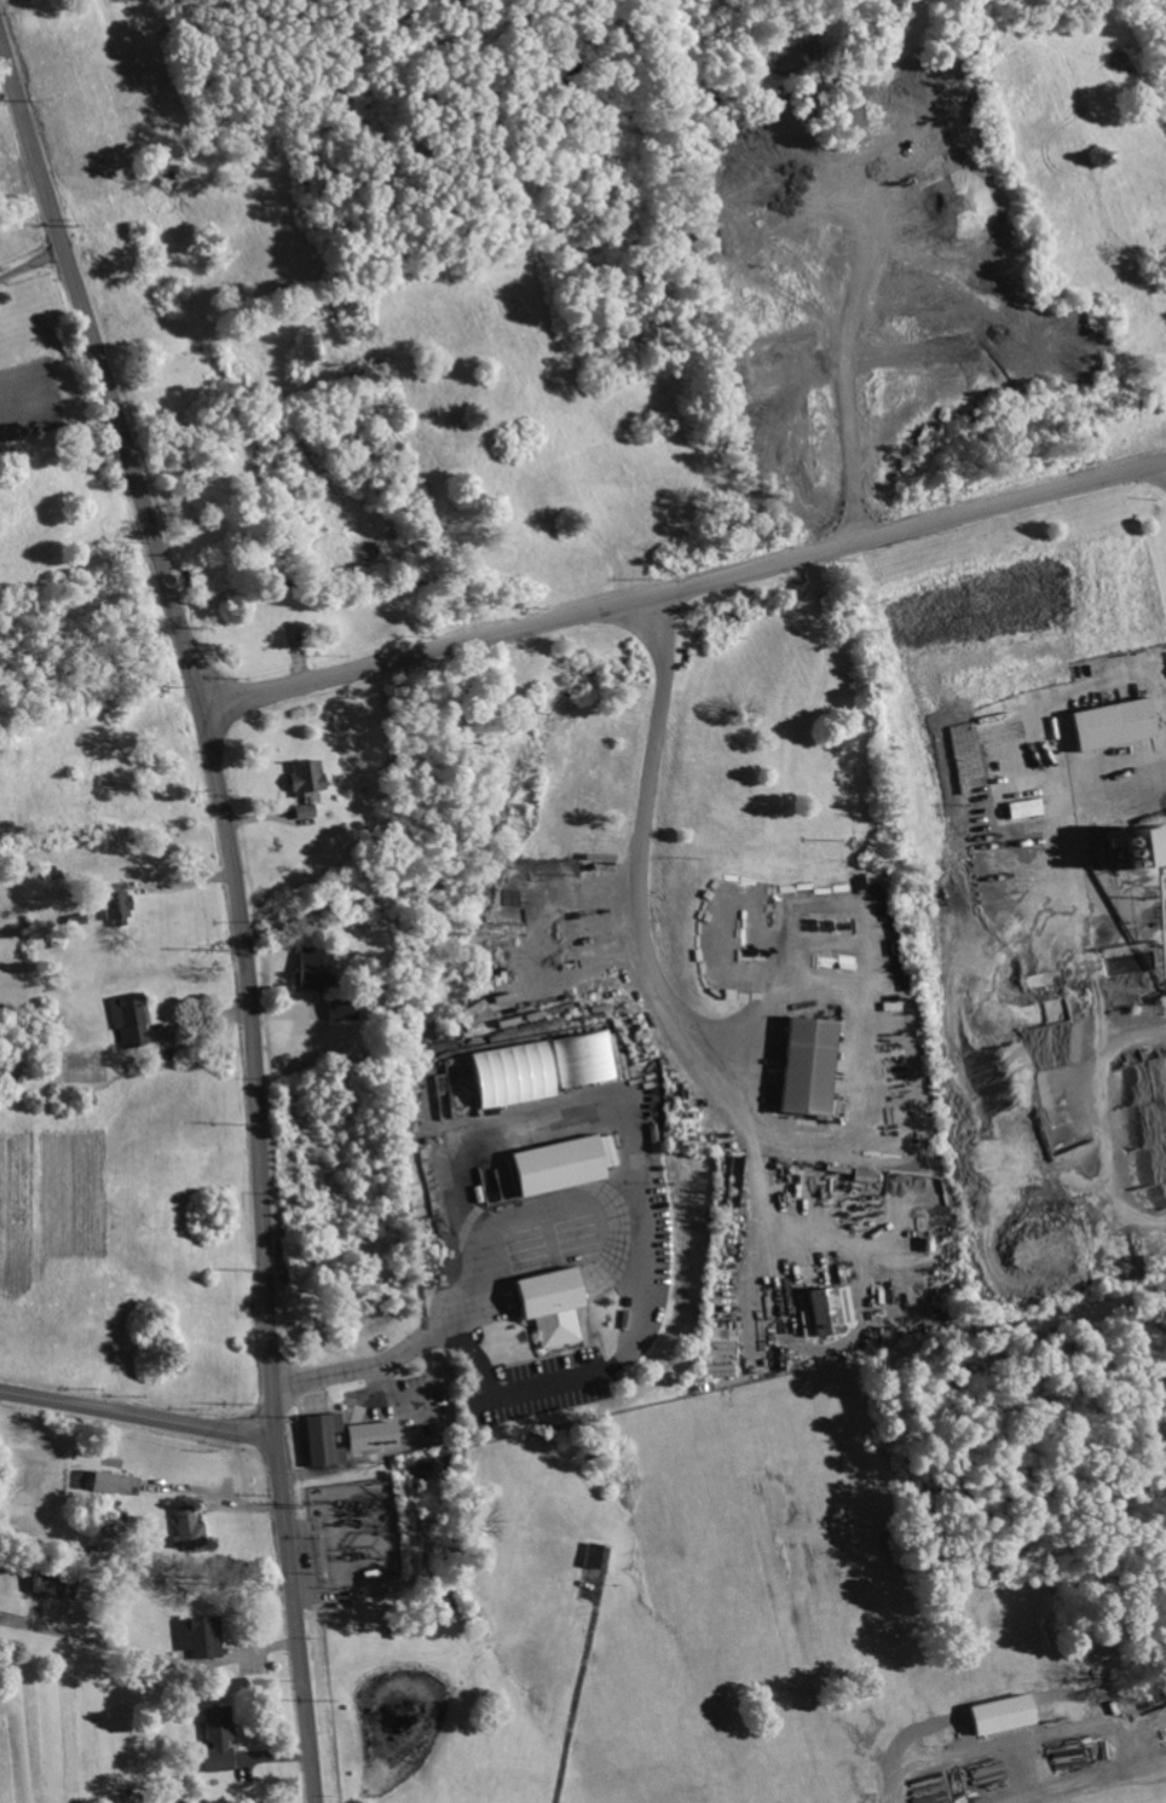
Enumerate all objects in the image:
road: (1143, 93)
road: (31, 260)
road: (685, 584)
road: (1056, 696)
building: (1112, 725)
road: (1124, 784)
building: (310, 785)
building: (1028, 806)
building: (1154, 843)
road: (647, 858)
road: (1096, 881)
building: (115, 903)
road: (241, 908)
building: (317, 966)
building: (344, 1008)
building: (133, 1018)
building: (582, 1060)
building: (801, 1066)
building: (512, 1072)
road: (637, 1117)
building: (556, 1164)
building: (548, 1303)
building: (829, 1308)
road: (323, 1375)
road: (403, 1394)
road: (138, 1416)
building: (373, 1434)
building: (328, 1439)
building: (108, 1480)
building: (190, 1526)
power substation: (357, 1536)
building: (593, 1554)
building: (53, 1577)
building: (202, 1634)
road: (148, 1651)
building: (1006, 1710)
building: (220, 1739)
building: (129, 1797)

